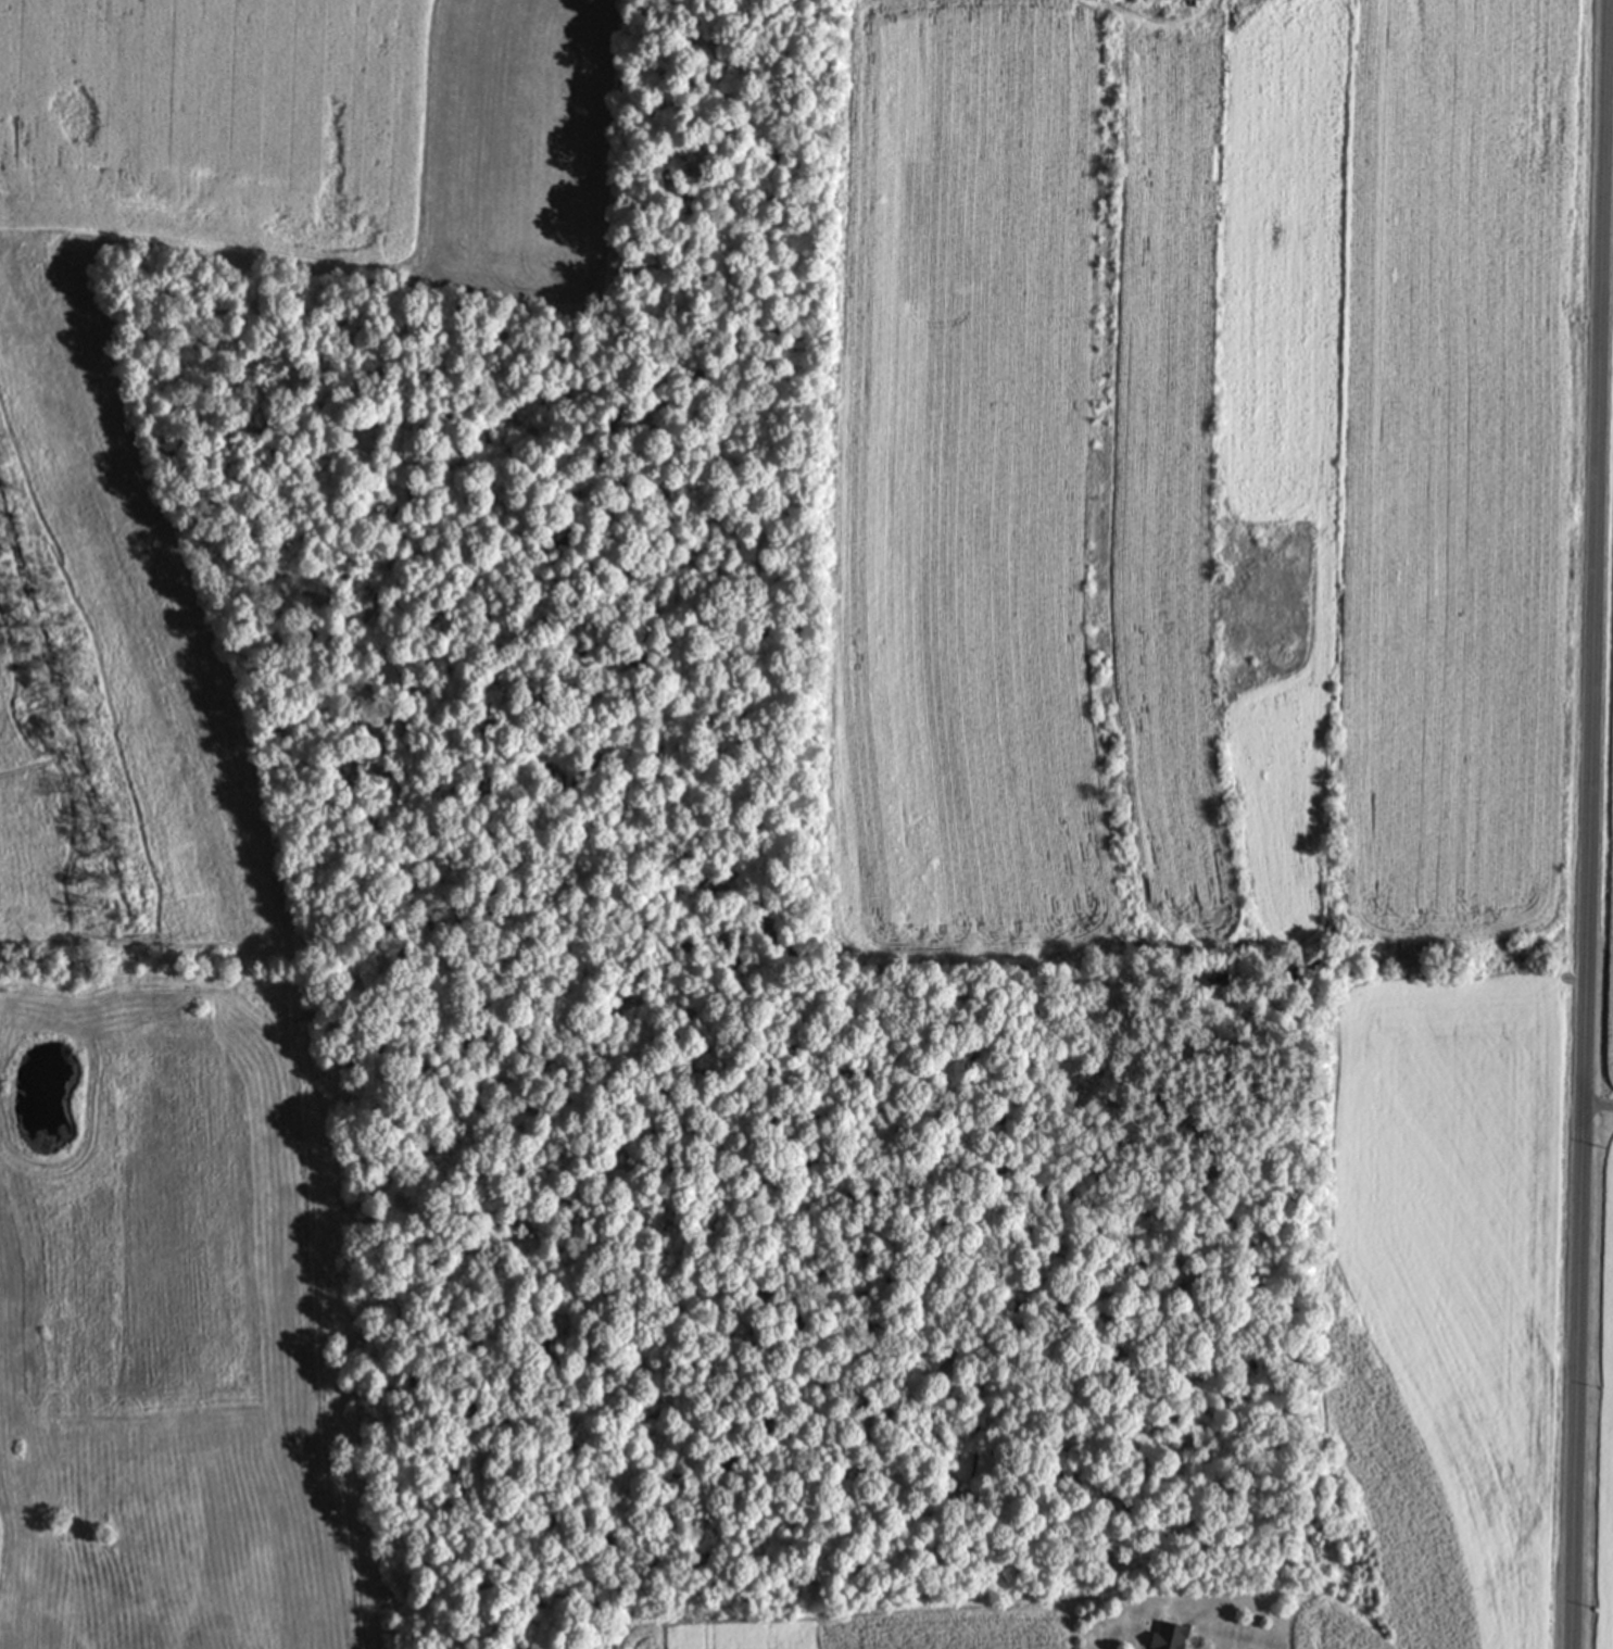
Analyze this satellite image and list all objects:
road: (1580, 824)
road: (1593, 1110)
building: (1170, 1639)

